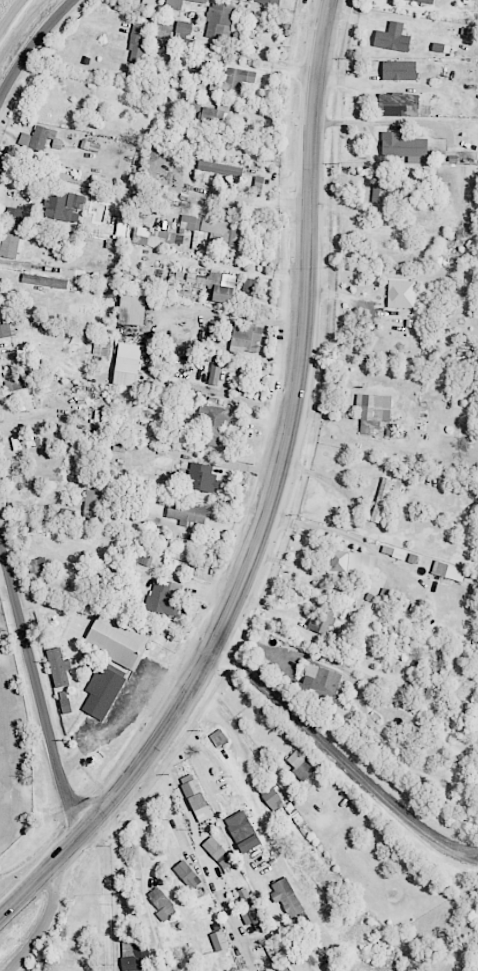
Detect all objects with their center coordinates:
building: (202, 0)
building: (427, 0)
building: (272, 1)
building: (176, 4)
building: (220, 18)
crop: (16, 23)
building: (165, 29)
building: (184, 29)
building: (470, 31)
building: (395, 37)
building: (140, 41)
road: (31, 45)
building: (443, 47)
building: (402, 69)
building: (219, 77)
building: (402, 102)
building: (212, 115)
building: (41, 134)
building: (91, 145)
building: (221, 168)
building: (260, 184)
building: (382, 192)
building: (61, 204)
building: (215, 228)
building: (158, 235)
building: (13, 240)
road: (39, 266)
building: (45, 280)
building: (219, 284)
building: (403, 293)
building: (136, 307)
building: (9, 328)
building: (248, 337)
building: (130, 364)
building: (216, 370)
building: (16, 383)
building: (375, 410)
building: (215, 423)
building: (26, 440)
building: (206, 477)
building: (95, 498)
building: (383, 499)
road: (274, 500)
building: (189, 512)
road: (338, 533)
building: (187, 555)
building: (144, 558)
building: (354, 562)
building: (40, 564)
building: (451, 571)
building: (165, 596)
building: (324, 619)
building: (119, 640)
building: (60, 666)
building: (437, 678)
building: (324, 680)
building: (105, 692)
building: (67, 701)
road: (41, 707)
road: (129, 716)
building: (220, 737)
road: (340, 756)
building: (302, 765)
building: (199, 797)
building: (279, 800)
road: (184, 805)
building: (246, 831)
building: (216, 847)
building: (190, 874)
road: (143, 875)
road: (117, 888)
building: (289, 897)
building: (164, 903)
building: (251, 908)
road: (106, 914)
road: (46, 924)
building: (221, 941)
road: (99, 942)
building: (138, 958)

